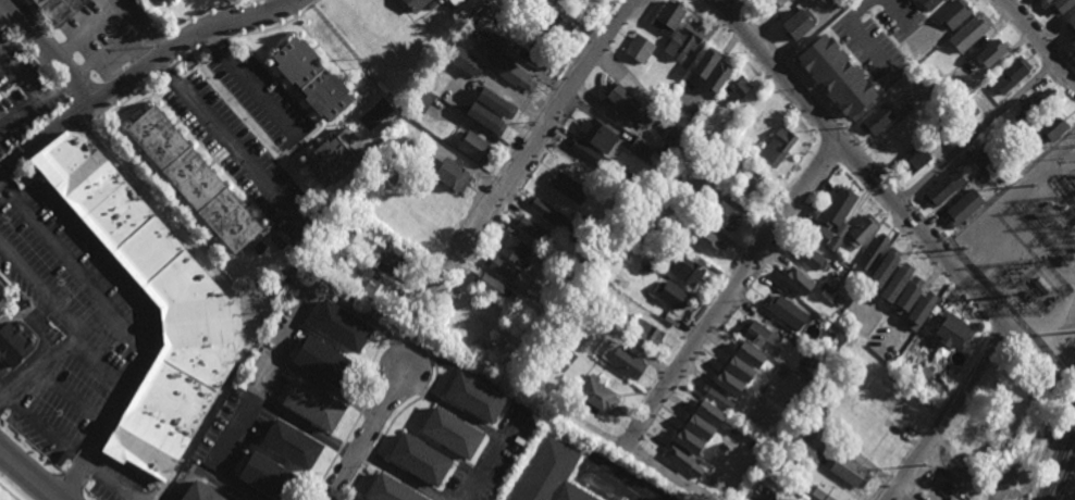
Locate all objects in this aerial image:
building: (166, 0)
building: (442, 0)
building: (533, 0)
building: (1048, 1)
building: (454, 2)
building: (840, 2)
road: (282, 3)
building: (416, 3)
building: (770, 3)
building: (929, 3)
building: (1060, 5)
building: (58, 8)
road: (898, 12)
road: (5, 13)
building: (953, 14)
building: (667, 16)
building: (1071, 24)
building: (798, 25)
building: (554, 28)
road: (86, 29)
building: (969, 32)
road: (858, 34)
building: (683, 39)
building: (494, 40)
road: (121, 42)
road: (1037, 42)
building: (910, 43)
building: (1072, 45)
building: (638, 48)
road: (50, 51)
building: (821, 51)
building: (991, 53)
building: (534, 57)
building: (464, 62)
building: (705, 63)
road: (139, 71)
building: (1013, 72)
building: (510, 73)
building: (919, 73)
building: (717, 76)
building: (311, 79)
building: (937, 79)
road: (251, 80)
building: (840, 82)
building: (971, 85)
road: (32, 89)
building: (736, 89)
building: (863, 91)
building: (914, 93)
building: (0, 98)
building: (421, 100)
building: (696, 102)
building: (496, 103)
building: (626, 105)
building: (1033, 107)
building: (966, 110)
road: (21, 113)
building: (759, 115)
building: (910, 116)
building: (491, 117)
building: (875, 120)
building: (1050, 128)
road: (975, 134)
building: (596, 136)
building: (1006, 137)
road: (226, 138)
building: (891, 139)
building: (671, 141)
building: (469, 145)
building: (730, 146)
building: (777, 147)
building: (639, 150)
building: (586, 154)
road: (528, 157)
building: (979, 157)
building: (720, 158)
building: (334, 160)
building: (913, 161)
building: (390, 171)
building: (449, 176)
building: (579, 177)
building: (191, 182)
building: (567, 187)
building: (749, 189)
building: (941, 189)
road: (884, 192)
building: (837, 208)
building: (963, 208)
building: (543, 210)
building: (725, 215)
building: (346, 217)
building: (691, 217)
building: (584, 221)
building: (530, 228)
building: (861, 229)
building: (820, 234)
building: (837, 236)
building: (585, 239)
building: (706, 239)
building: (318, 243)
building: (259, 247)
building: (512, 248)
building: (873, 250)
building: (807, 254)
road: (63, 255)
building: (392, 257)
building: (586, 258)
building: (653, 260)
power substation: (1041, 265)
building: (645, 266)
building: (684, 266)
building: (844, 267)
building: (884, 267)
building: (505, 270)
building: (574, 276)
building: (798, 282)
building: (897, 283)
building: (491, 285)
building: (373, 286)
power tower: (1040, 286)
road: (40, 287)
road: (729, 291)
road: (232, 293)
building: (670, 293)
building: (907, 296)
road: (2, 297)
building: (837, 298)
road: (156, 301)
building: (547, 303)
building: (597, 303)
building: (923, 308)
building: (560, 309)
building: (787, 310)
road: (41, 312)
road: (148, 312)
road: (355, 313)
building: (512, 321)
building: (548, 322)
building: (619, 322)
building: (195, 325)
building: (339, 327)
road: (129, 328)
building: (952, 329)
building: (464, 332)
building: (646, 333)
building: (763, 334)
building: (830, 334)
building: (14, 340)
road: (284, 342)
road: (40, 343)
building: (447, 343)
road: (64, 346)
building: (637, 350)
building: (752, 352)
building: (568, 357)
building: (619, 358)
building: (323, 360)
road: (101, 363)
building: (561, 365)
building: (601, 366)
building: (738, 367)
building: (503, 368)
road: (268, 378)
building: (923, 380)
building: (736, 385)
building: (595, 393)
road: (73, 396)
building: (471, 396)
road: (515, 397)
building: (717, 398)
building: (313, 403)
building: (768, 403)
road: (450, 408)
building: (709, 413)
road: (948, 414)
building: (1015, 417)
building: (700, 418)
road: (34, 421)
road: (364, 430)
building: (448, 432)
building: (806, 432)
building: (688, 441)
building: (291, 442)
building: (681, 452)
building: (419, 458)
road: (217, 459)
railway: (1060, 459)
power tower: (928, 466)
building: (848, 470)
road: (399, 473)
railway: (1062, 473)
road: (207, 474)
road: (28, 475)
road: (87, 475)
building: (549, 475)
building: (269, 476)
road: (112, 480)
road: (618, 482)
building: (718, 482)
road: (691, 486)
building: (391, 489)
railway: (1071, 489)
road: (9, 491)
building: (200, 491)
building: (829, 493)

